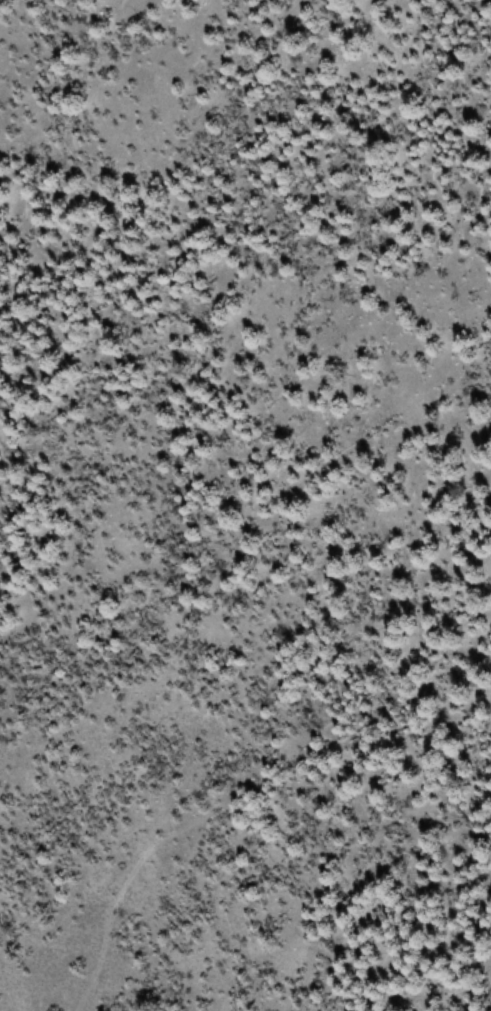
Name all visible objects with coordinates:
road: (158, 839)

